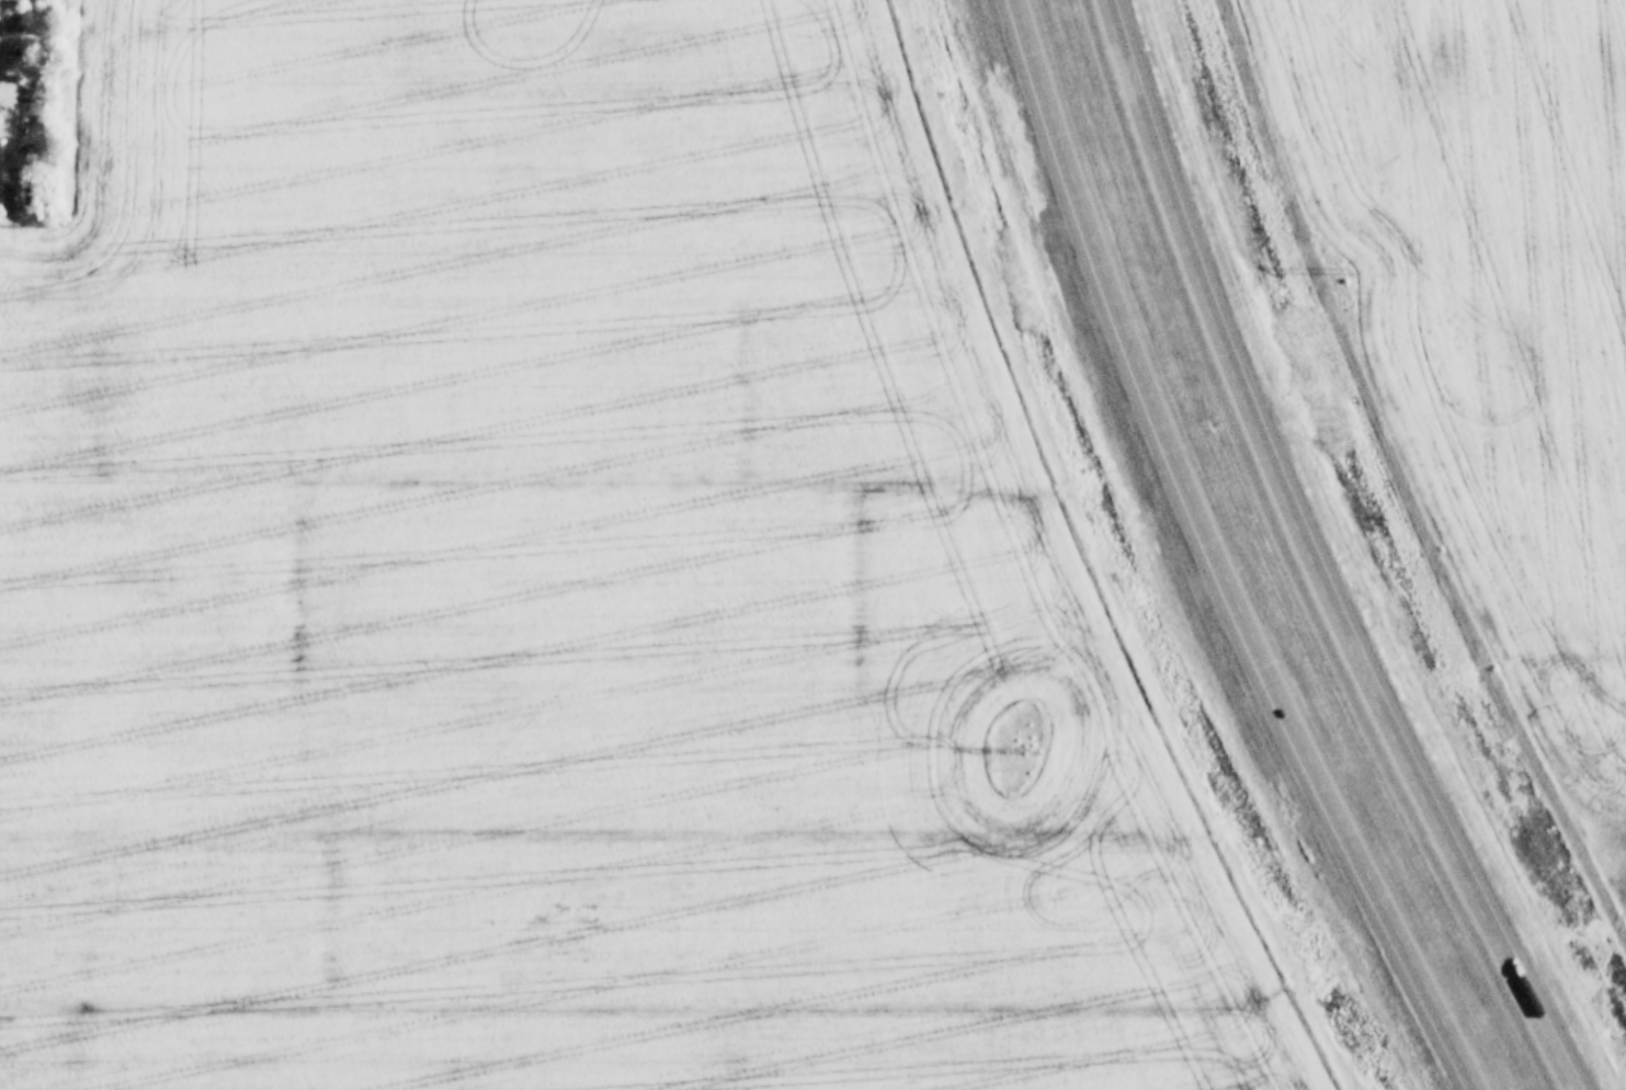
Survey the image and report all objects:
building: (9, 20)
power tower: (1340, 271)
road: (1319, 555)
road: (1224, 557)
power tower: (1013, 750)

